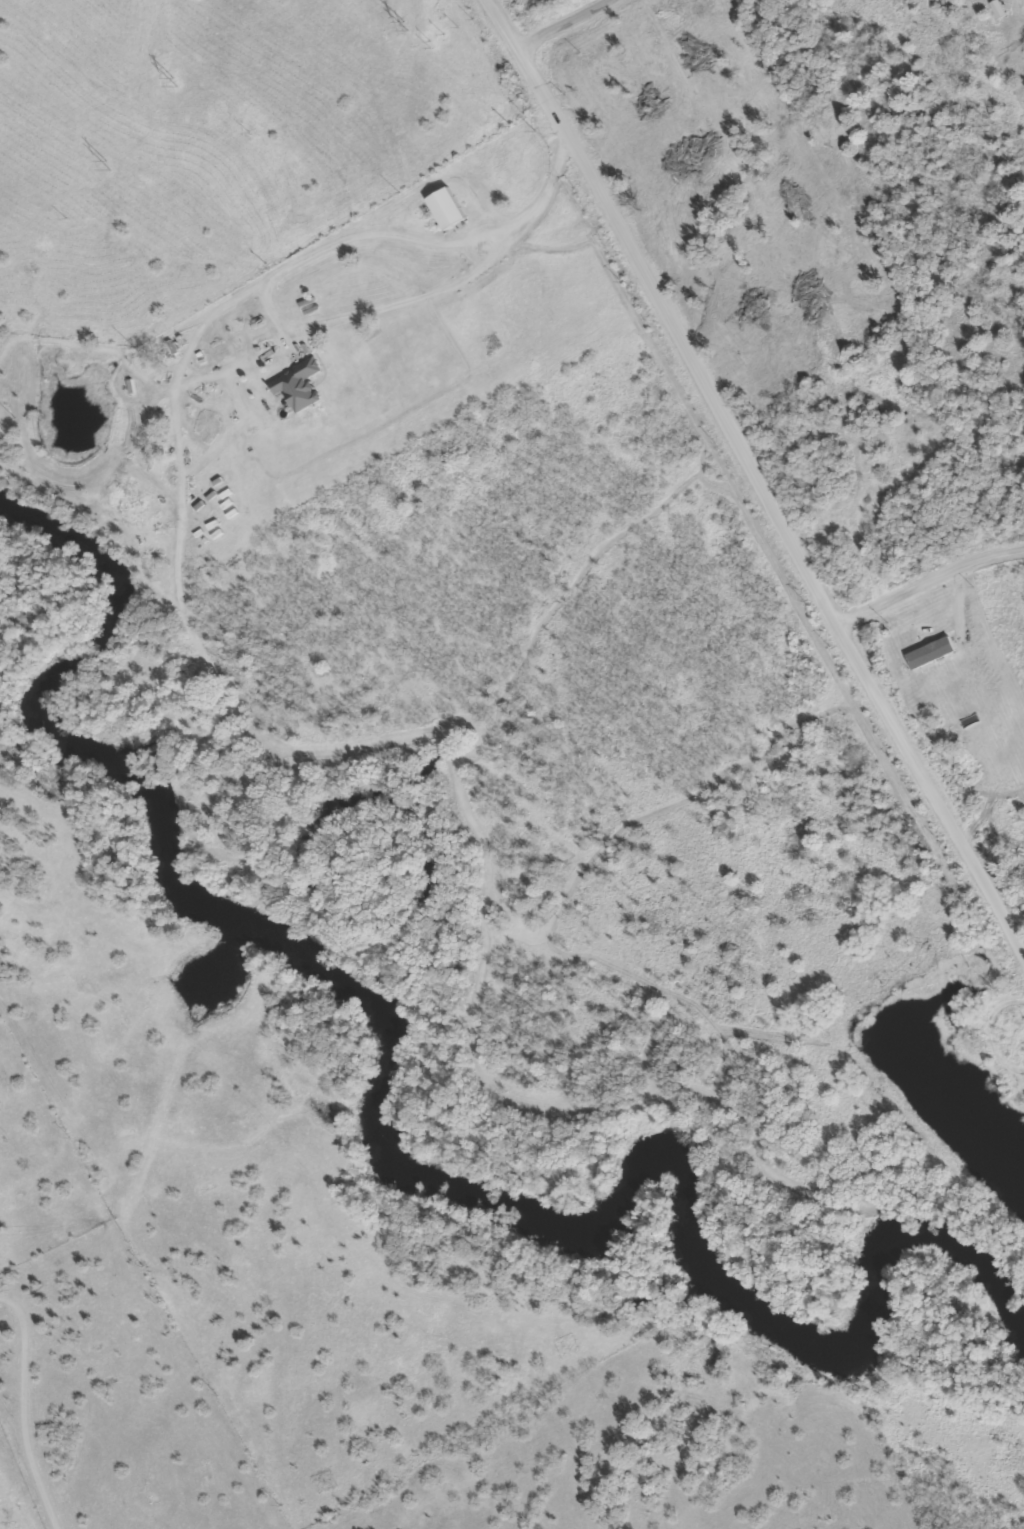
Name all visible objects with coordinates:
road: (558, 17)
building: (448, 209)
road: (401, 237)
building: (299, 386)
road: (758, 477)
road: (930, 581)

